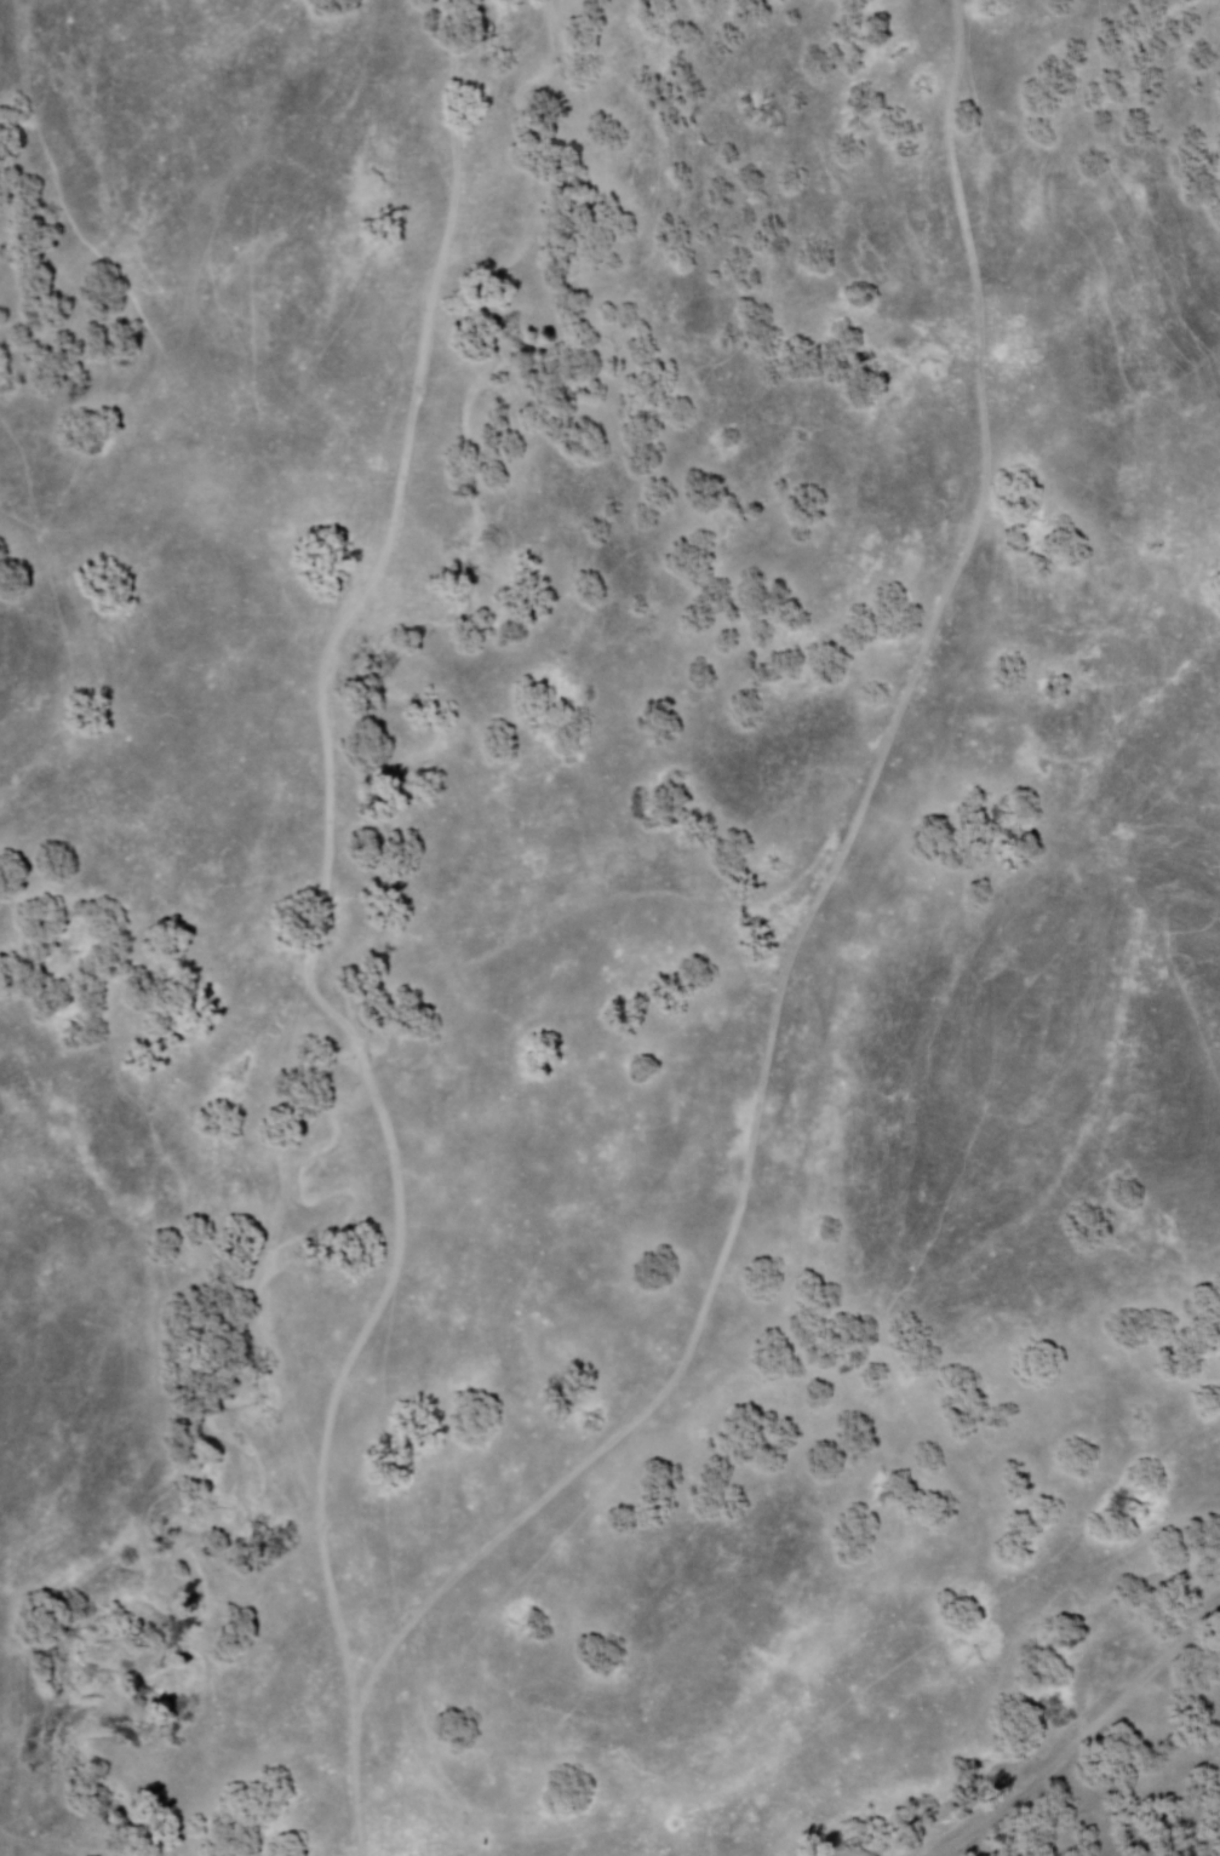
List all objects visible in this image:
road: (1082, 1737)

